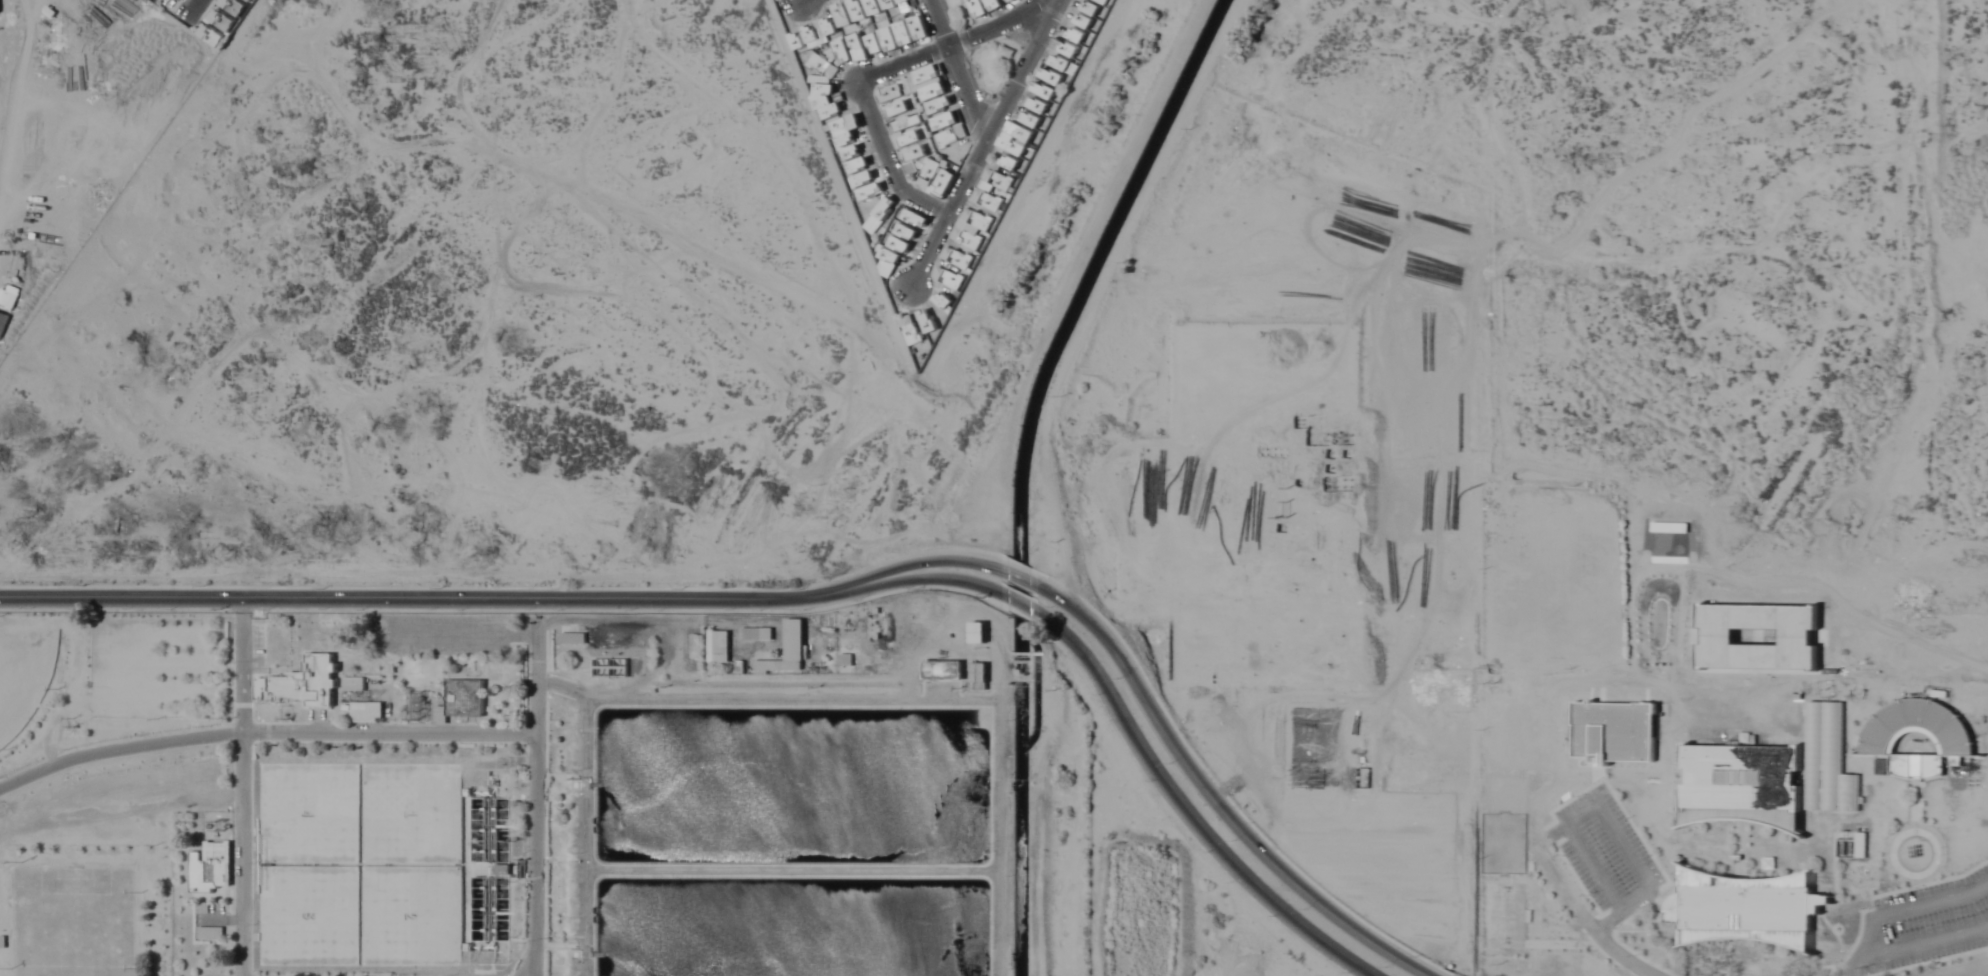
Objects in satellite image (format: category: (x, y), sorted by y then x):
park: (1005, 57)
park: (1707, 845)
park: (1774, 850)
parking lot: (1604, 853)
park: (1771, 860)
park: (1864, 877)
parking lot: (1926, 923)
park: (1715, 954)

